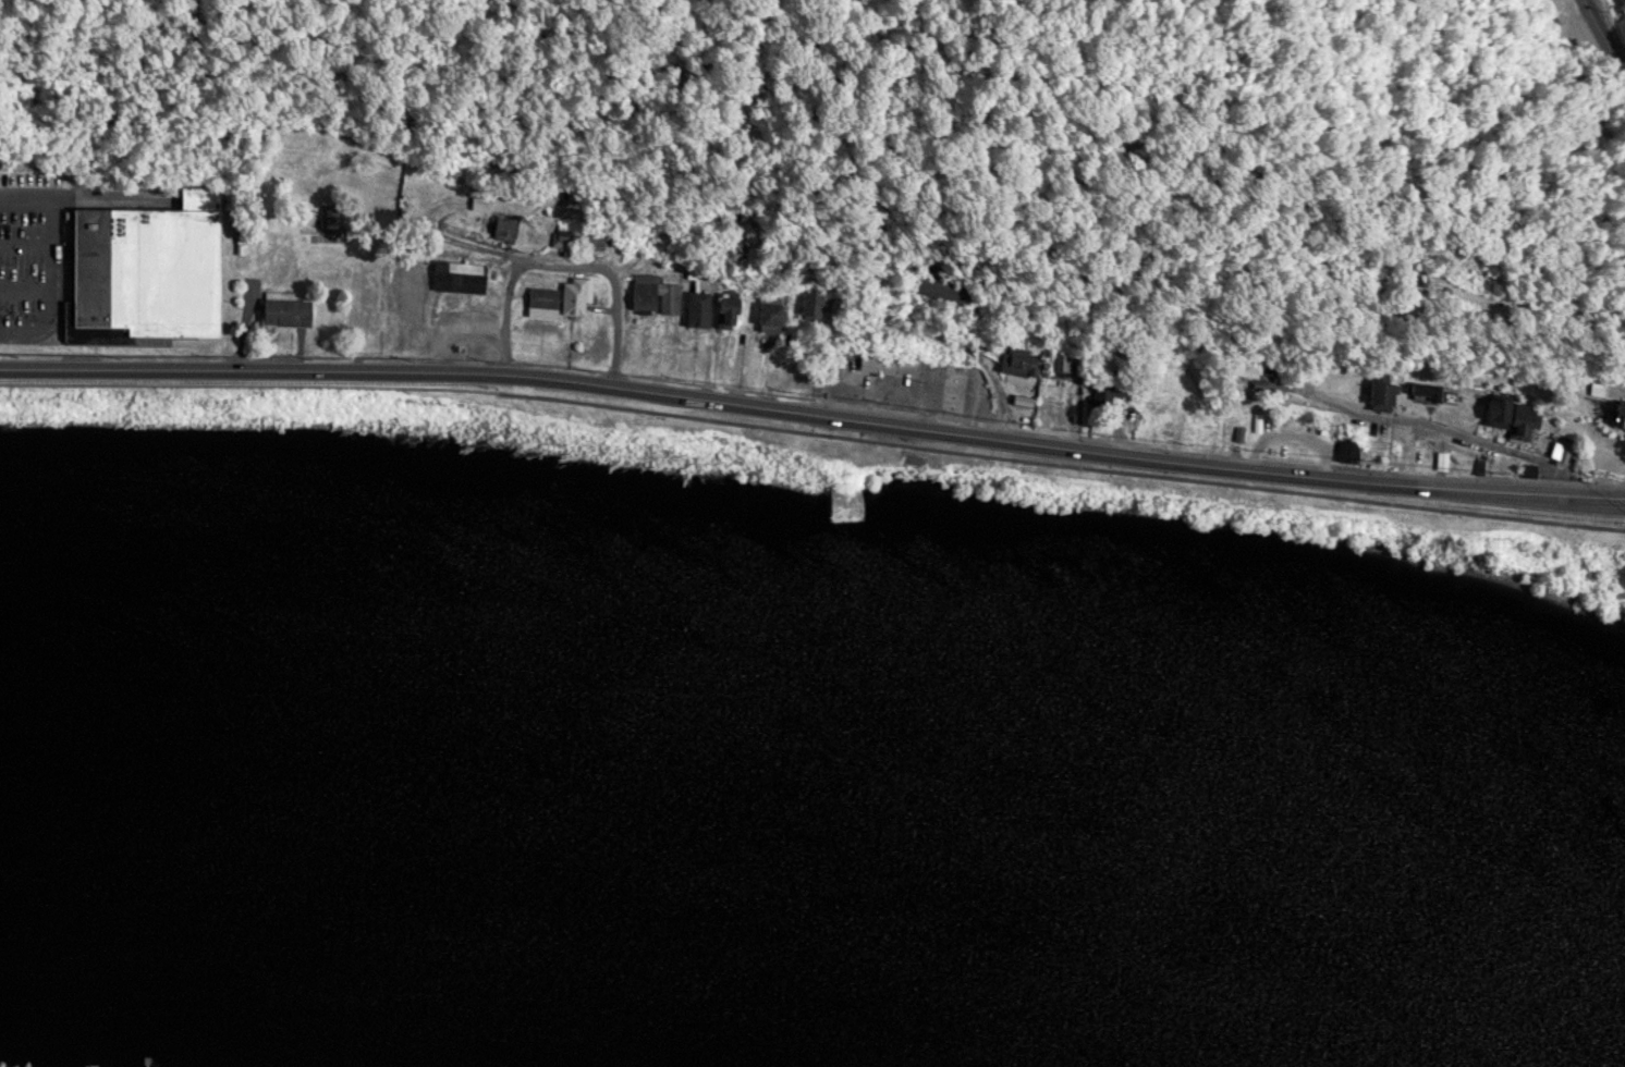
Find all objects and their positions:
road: (1604, 38)
building: (500, 228)
building: (565, 233)
building: (589, 241)
parking lot: (30, 260)
road: (567, 265)
building: (144, 268)
building: (1403, 280)
building: (940, 289)
building: (653, 295)
building: (571, 297)
building: (540, 303)
building: (809, 306)
building: (696, 309)
building: (283, 311)
building: (723, 312)
building: (768, 316)
building: (1018, 361)
building: (1060, 363)
building: (876, 365)
building: (1246, 365)
building: (1378, 391)
building: (1099, 394)
building: (1494, 410)
road: (814, 412)
building: (1614, 413)
building: (1519, 420)
road: (1444, 430)
road: (814, 431)
building: (1346, 449)
building: (1555, 450)
building: (842, 503)
river: (830, 796)

